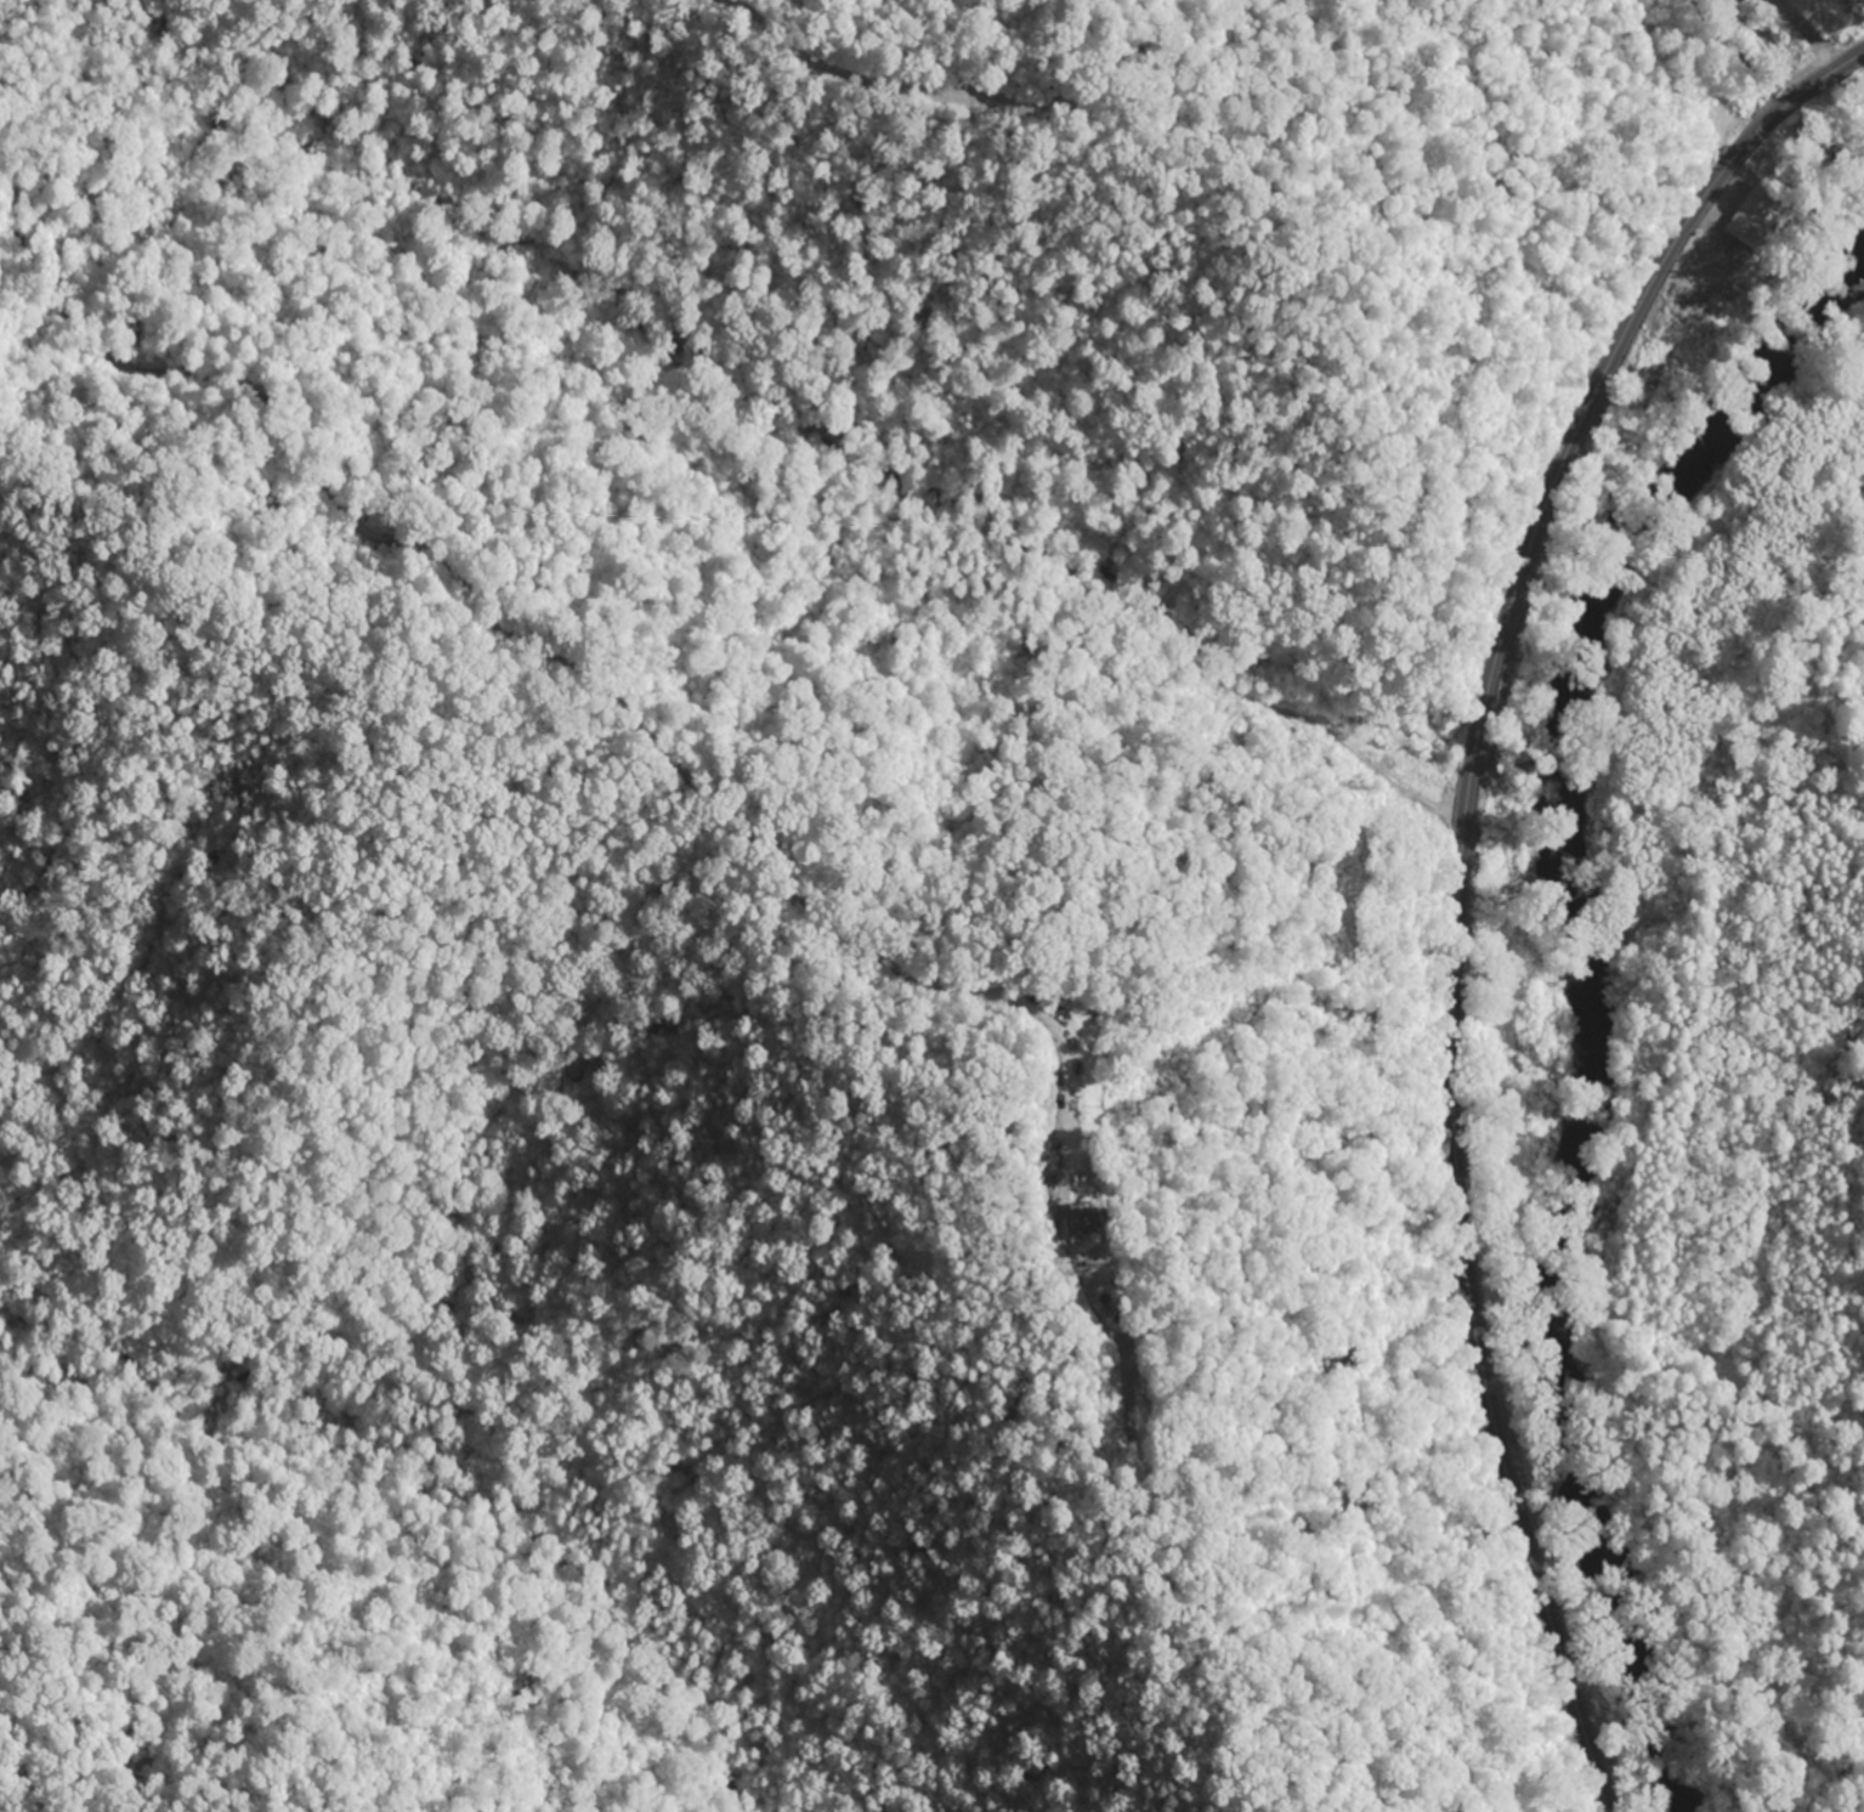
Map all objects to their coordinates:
road: (1769, 46)
road: (862, 75)
building: (1761, 217)
road: (545, 669)
road: (1466, 880)
building: (1087, 1224)

